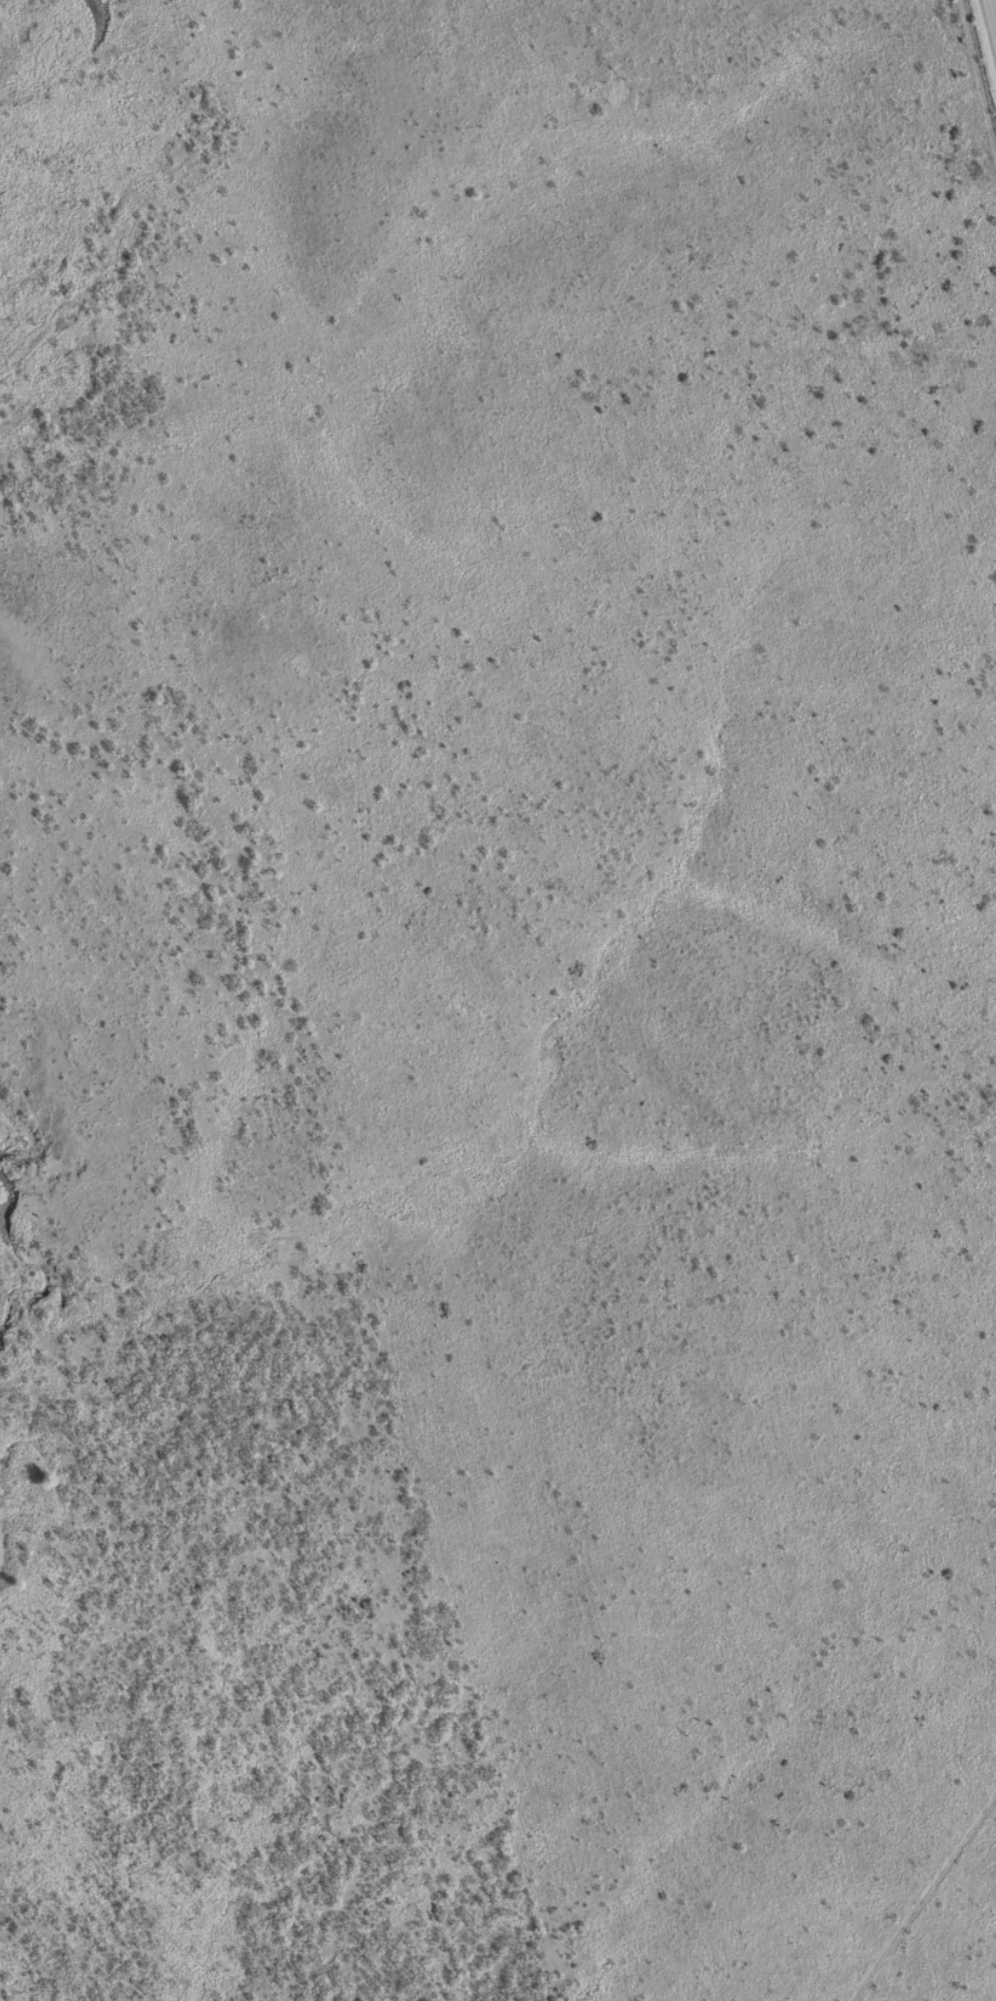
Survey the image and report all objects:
road: (974, 90)

